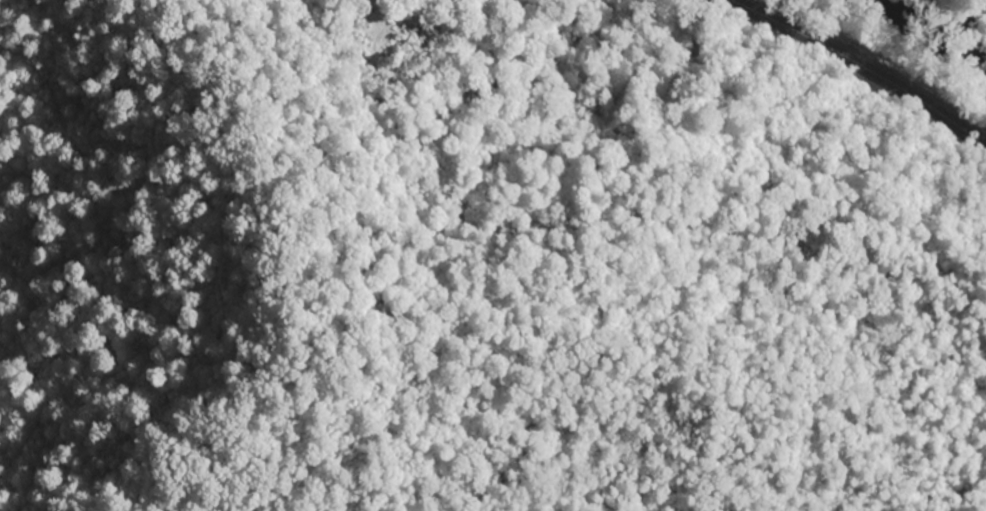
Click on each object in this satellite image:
road: (865, 61)

